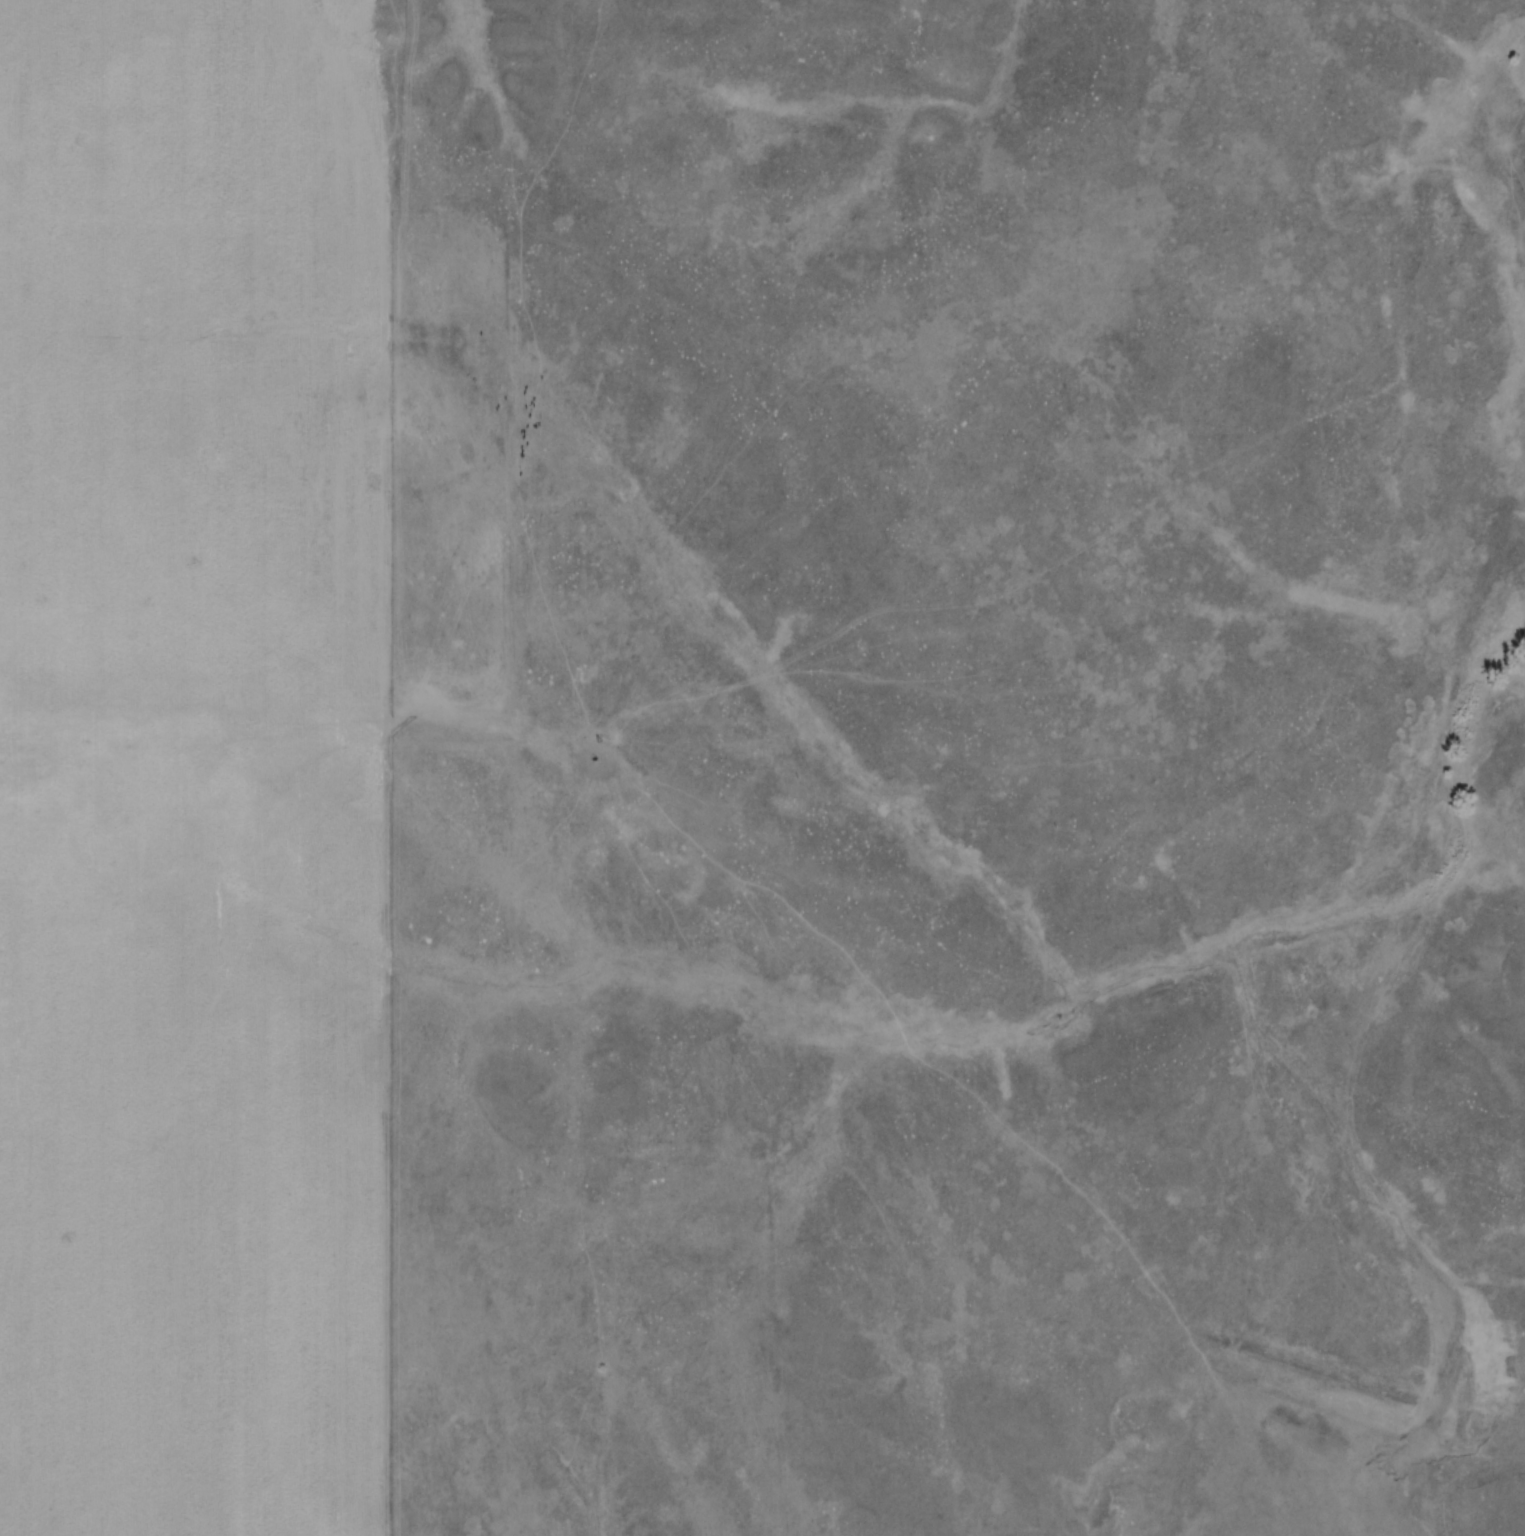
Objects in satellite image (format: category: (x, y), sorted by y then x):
crop: (238, 371)
crop: (114, 1212)

